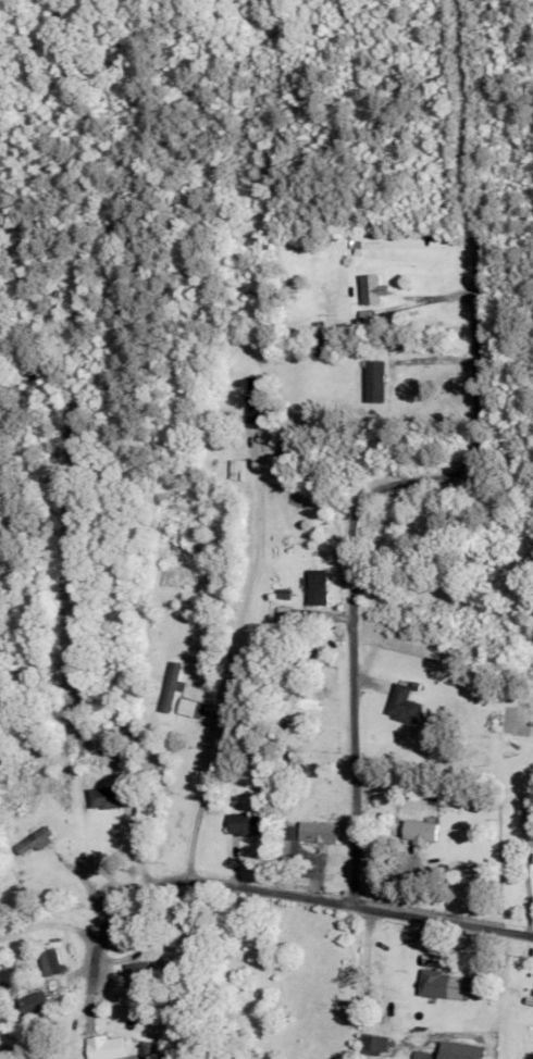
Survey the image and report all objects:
building: (373, 289)
building: (36, 375)
building: (376, 382)
building: (258, 400)
building: (234, 470)
building: (319, 586)
building: (172, 686)
road: (256, 705)
building: (406, 705)
road: (457, 721)
road: (149, 784)
building: (110, 797)
building: (529, 814)
building: (248, 823)
building: (319, 832)
building: (421, 832)
building: (36, 840)
road: (292, 912)
road: (42, 919)
building: (53, 961)
building: (444, 985)
building: (35, 1002)
building: (375, 1044)
building: (109, 1047)
building: (460, 1050)
building: (44, 1057)

